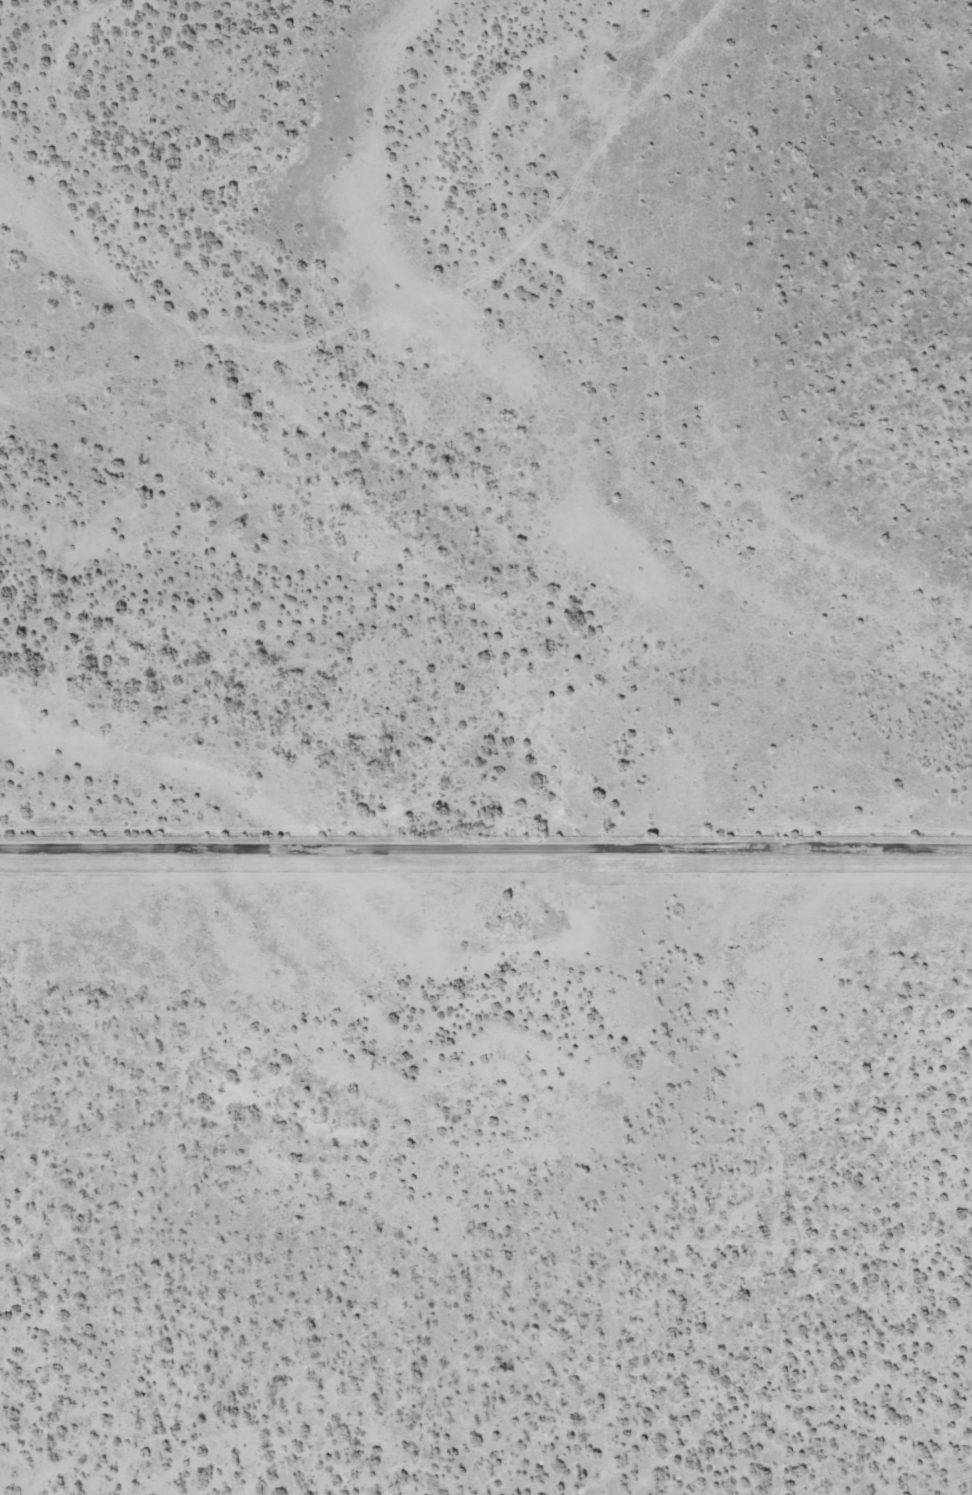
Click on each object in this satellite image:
road: (486, 848)

